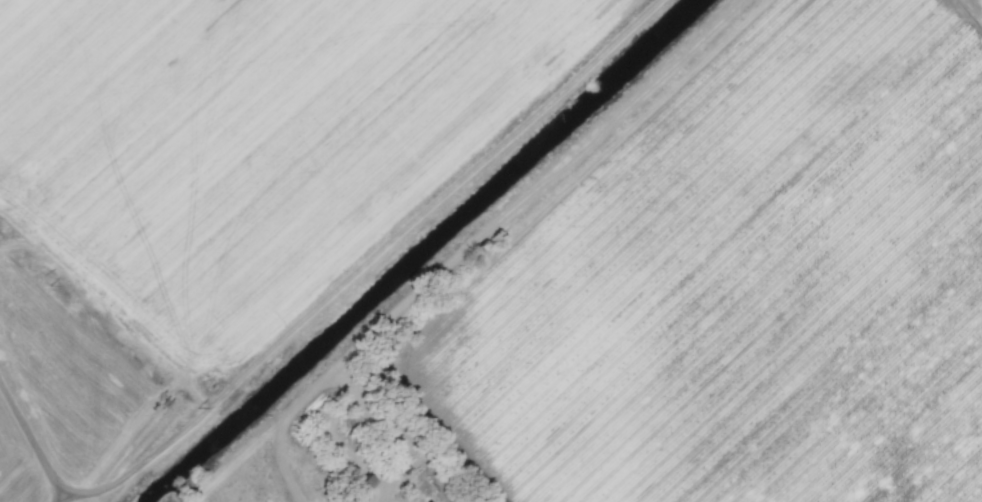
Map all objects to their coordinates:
crop: (744, 285)
building: (426, 501)
building: (426, 501)

